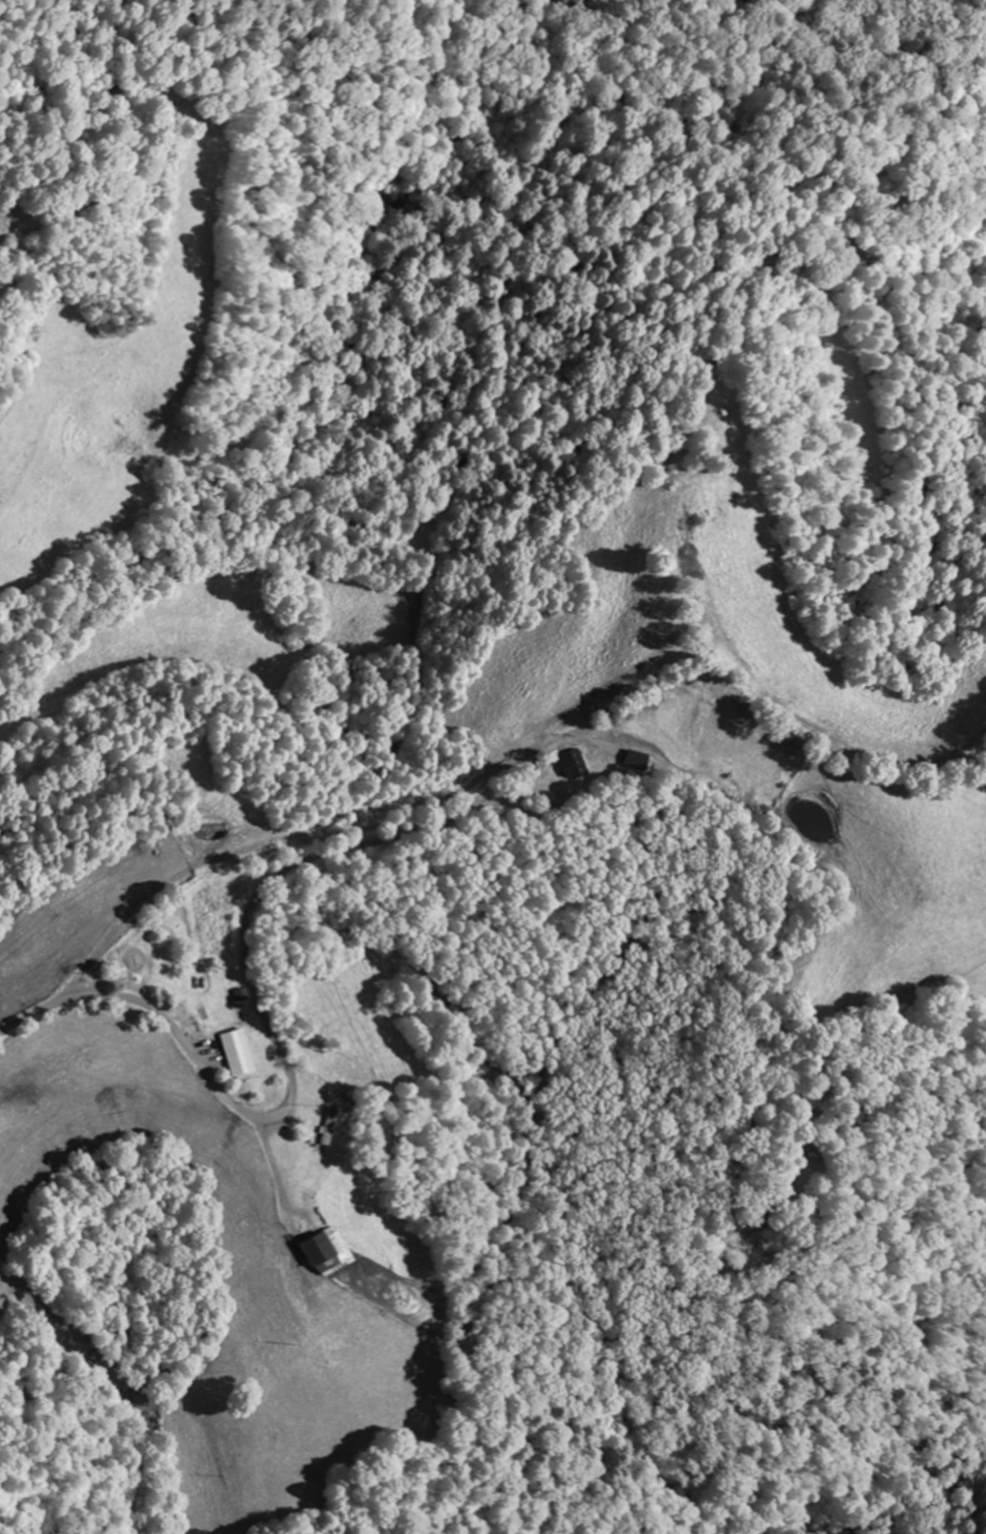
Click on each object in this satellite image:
building: (636, 760)
building: (570, 764)
road: (258, 893)
building: (226, 1054)
road: (265, 1123)
building: (319, 1127)
building: (314, 1251)

